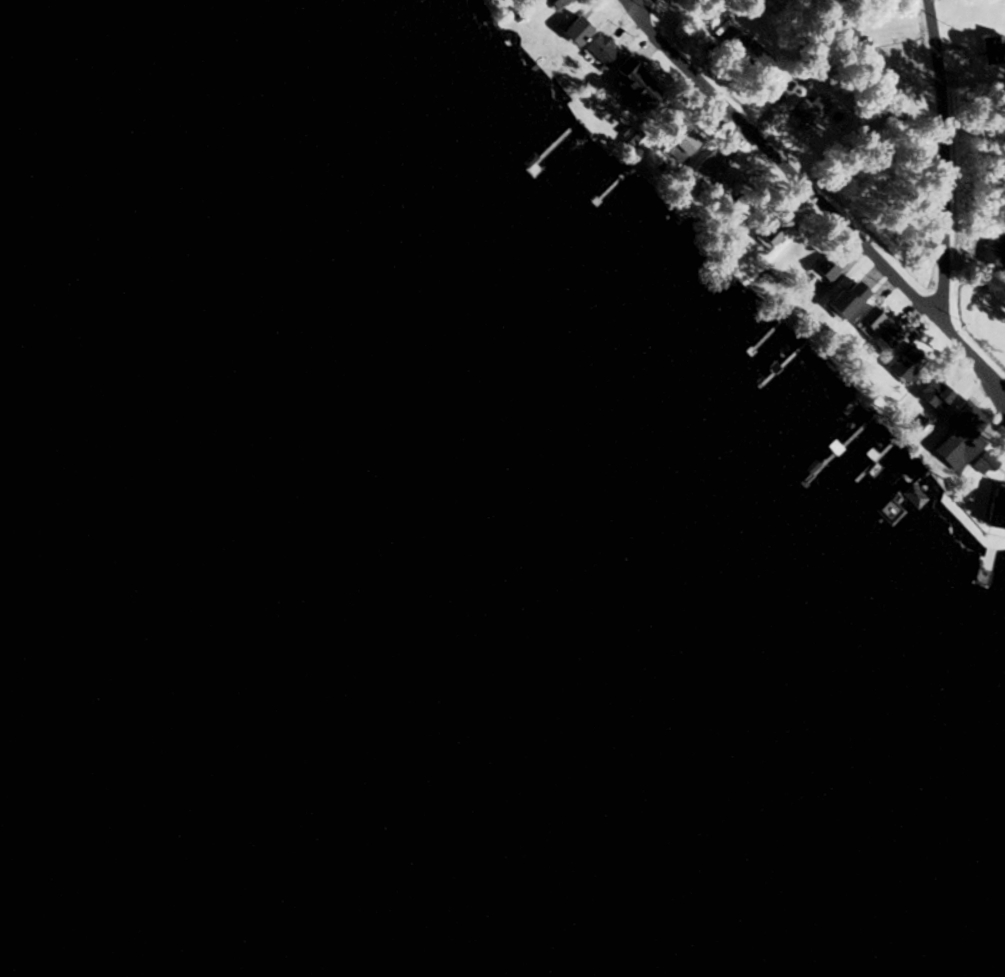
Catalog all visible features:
building: (553, 2)
road: (663, 15)
building: (571, 30)
building: (991, 48)
building: (598, 49)
building: (742, 52)
building: (856, 63)
building: (628, 83)
building: (806, 110)
building: (675, 144)
road: (945, 159)
building: (706, 165)
road: (814, 201)
building: (769, 230)
building: (991, 248)
building: (821, 270)
building: (838, 299)
building: (866, 318)
building: (885, 336)
building: (901, 363)
building: (931, 391)
road: (1004, 398)
building: (956, 435)

